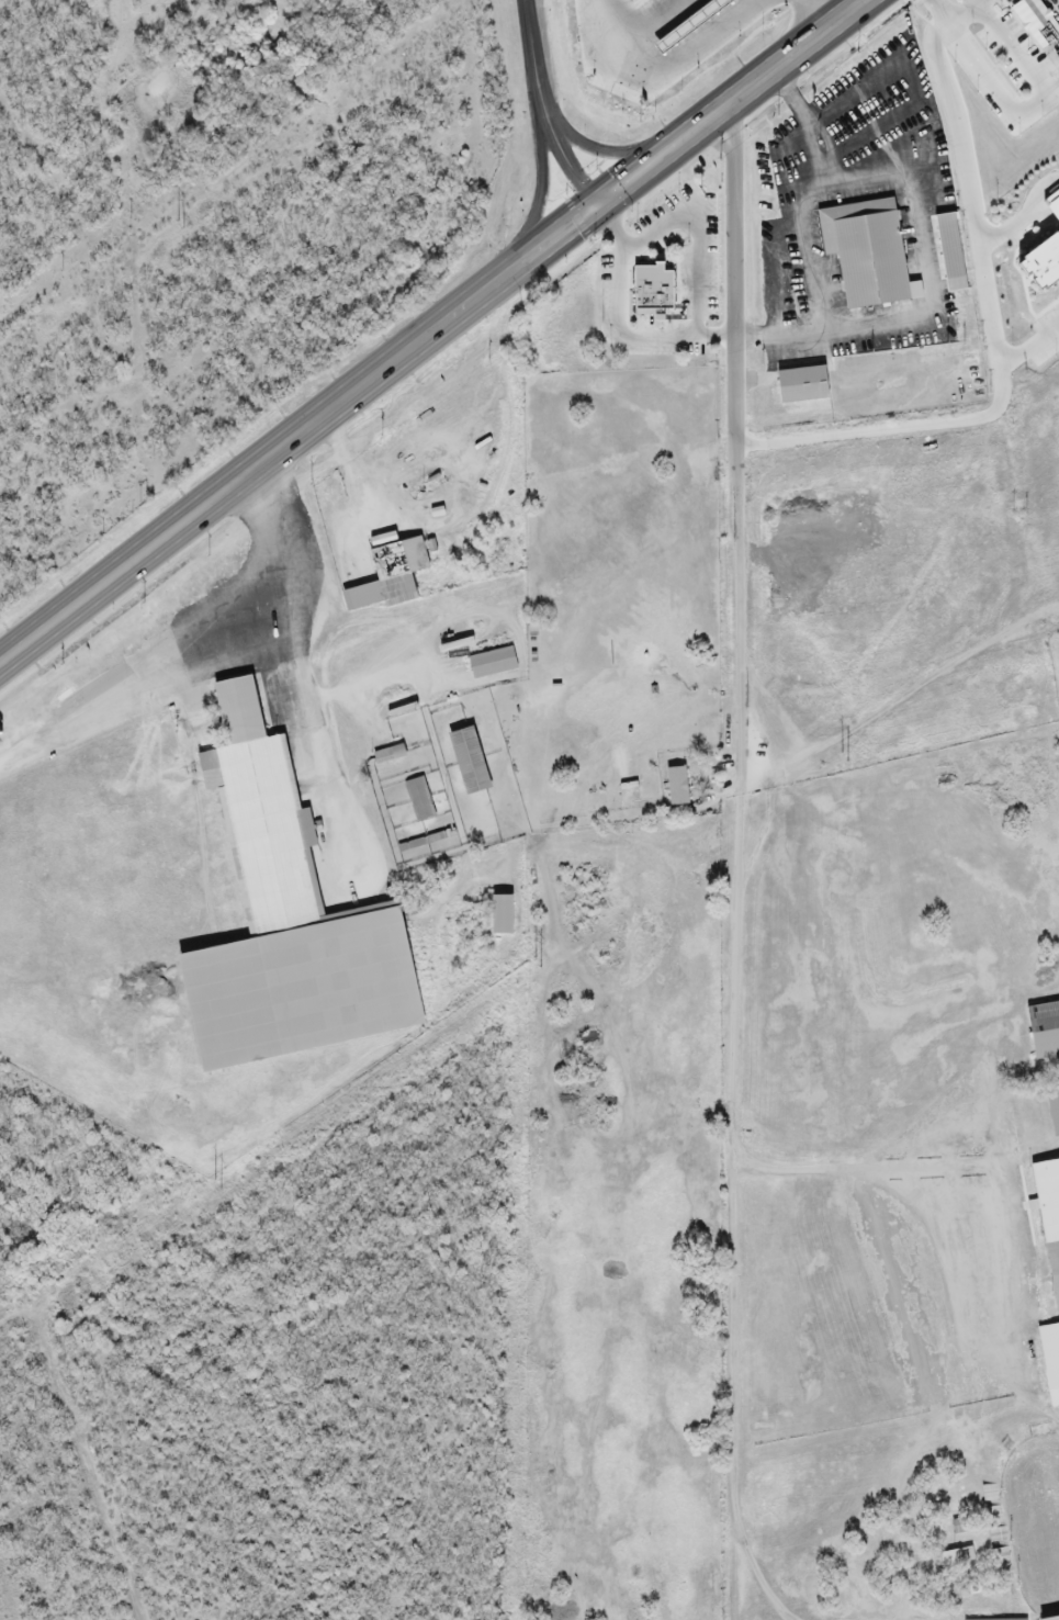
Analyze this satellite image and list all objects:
road: (1055, 3)
road: (968, 12)
road: (820, 14)
building: (1036, 24)
road: (678, 67)
road: (991, 78)
road: (544, 109)
road: (605, 151)
road: (542, 202)
building: (1055, 205)
road: (695, 221)
road: (1029, 222)
power tower: (179, 225)
road: (800, 234)
road: (921, 251)
building: (867, 252)
building: (1046, 266)
building: (654, 288)
building: (957, 288)
road: (435, 331)
road: (998, 345)
road: (1030, 351)
building: (804, 385)
road: (353, 469)
building: (331, 513)
building: (391, 576)
road: (178, 635)
road: (215, 662)
building: (493, 663)
road: (308, 715)
power tower: (850, 754)
building: (470, 762)
building: (678, 787)
road: (754, 820)
building: (503, 915)
building: (286, 920)
power tower: (528, 969)
building: (1045, 1030)
building: (1054, 1110)
power tower: (209, 1184)
building: (1049, 1270)

